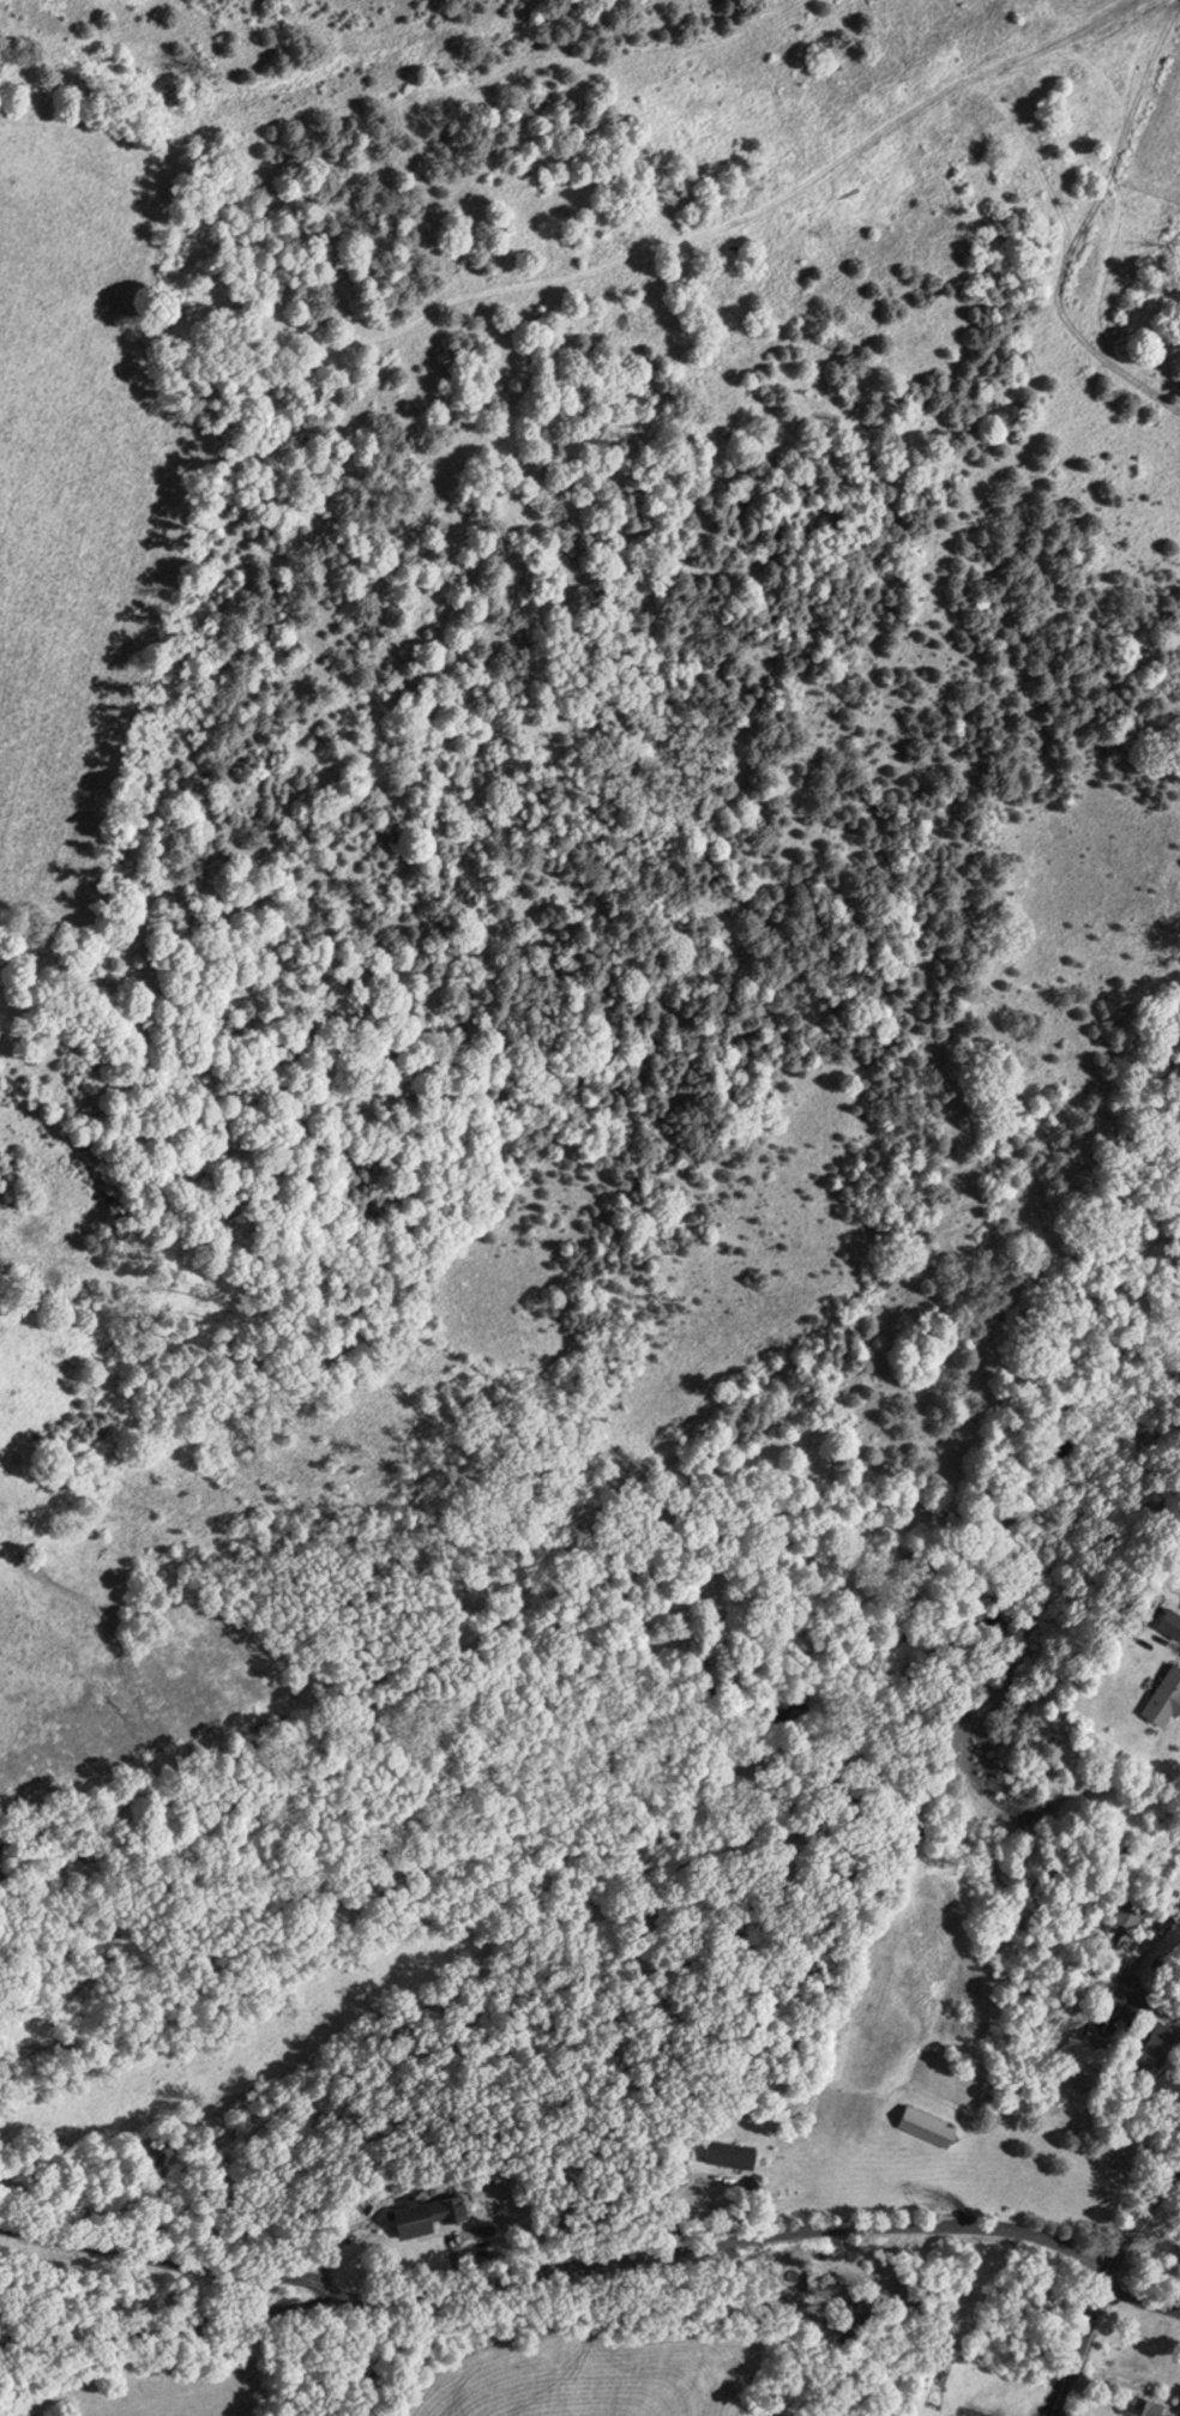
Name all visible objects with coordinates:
building: (1173, 1622)
building: (1167, 1698)
building: (1130, 1915)
building: (1156, 2048)
building: (929, 2126)
road: (1144, 2211)
building: (421, 2219)
road: (173, 2264)
road: (555, 2267)
road: (1079, 2337)
road: (383, 2352)
building: (1144, 2404)

